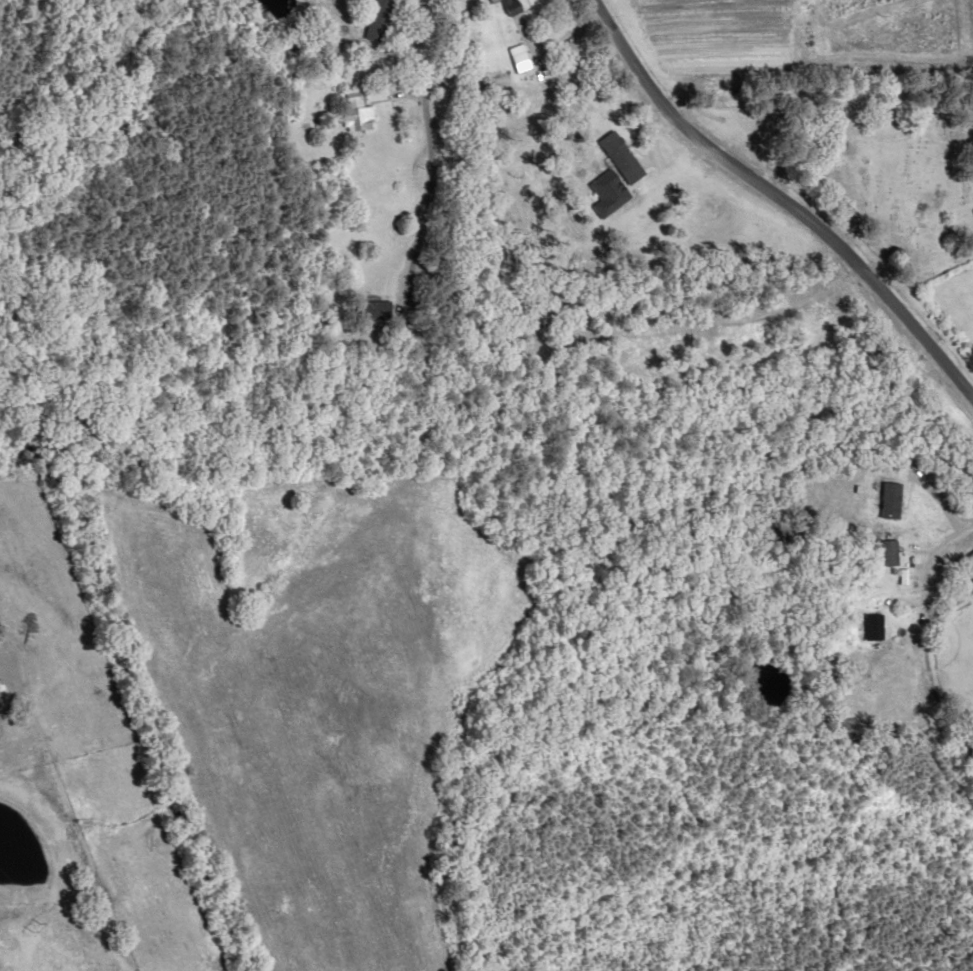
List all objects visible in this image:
building: (496, 1)
building: (516, 6)
building: (543, 93)
road: (831, 95)
building: (360, 112)
building: (624, 157)
road: (795, 182)
road: (363, 206)
building: (381, 309)
building: (893, 552)
building: (969, 562)
building: (876, 627)

